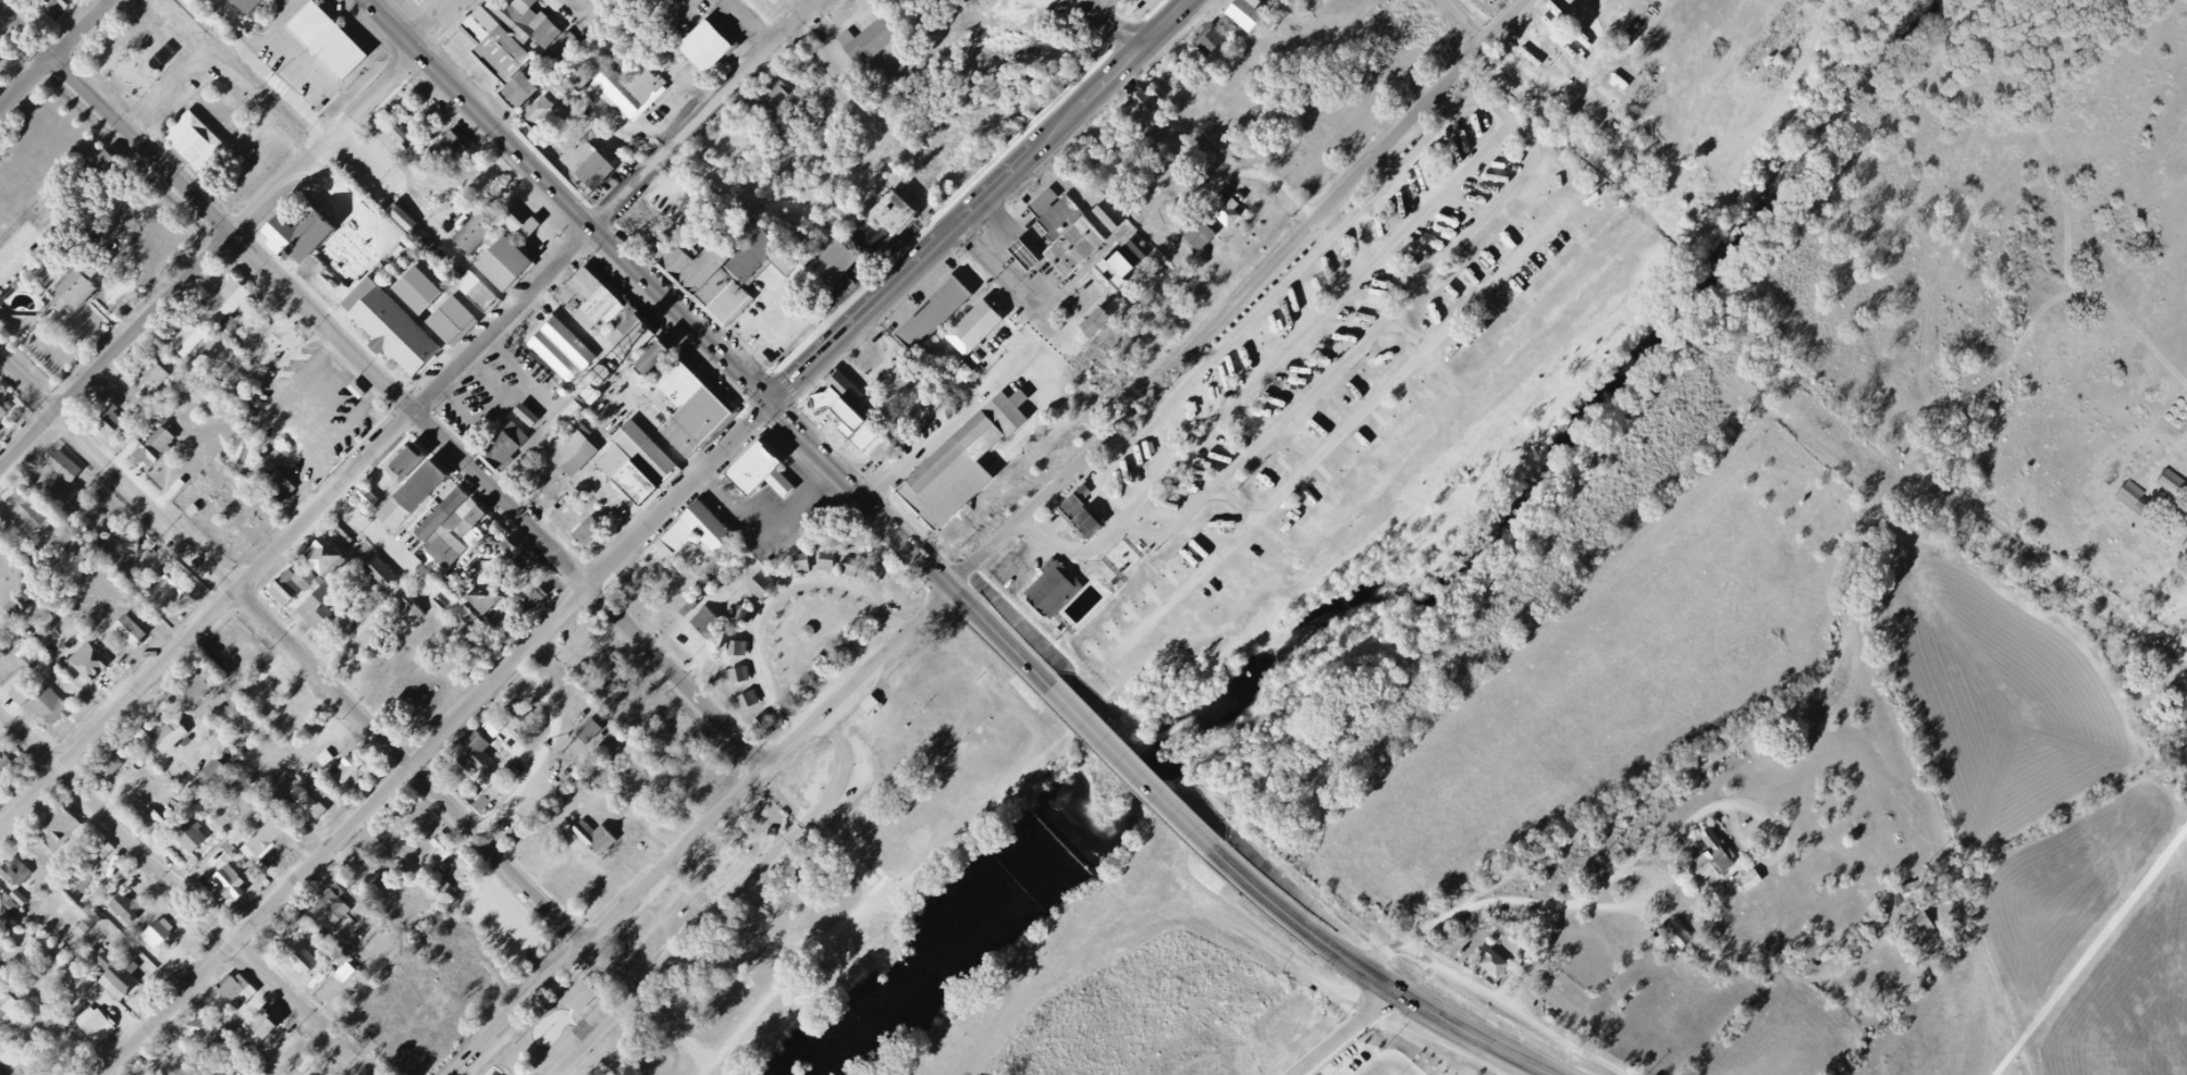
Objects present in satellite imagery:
building: (779, 1)
building: (926, 2)
building: (248, 5)
building: (63, 11)
building: (1252, 17)
road: (750, 22)
building: (532, 24)
road: (1113, 25)
building: (328, 40)
building: (494, 46)
building: (1218, 47)
park: (137, 49)
building: (875, 49)
building: (712, 53)
road: (53, 54)
building: (1, 65)
parking lot: (303, 70)
road: (224, 73)
building: (1, 76)
flagpole: (401, 89)
road: (1547, 90)
flagpole: (398, 92)
building: (517, 92)
flagpole: (395, 95)
building: (639, 95)
building: (776, 95)
flagpole: (393, 98)
parking lot: (167, 99)
flagpole: (390, 100)
road: (1086, 100)
building: (1143, 102)
building: (784, 103)
building: (1152, 109)
building: (539, 112)
park: (418, 113)
road: (703, 114)
road: (1500, 118)
building: (398, 133)
building: (1445, 140)
building: (195, 141)
building: (452, 148)
building: (587, 163)
building: (101, 165)
parking lot: (369, 165)
building: (113, 174)
building: (1034, 200)
road: (566, 202)
building: (1220, 210)
building: (1097, 212)
building: (1108, 215)
building: (1048, 217)
building: (402, 218)
building: (900, 222)
building: (517, 226)
building: (1191, 233)
building: (477, 234)
building: (298, 236)
road: (229, 238)
building: (1061, 244)
building: (1120, 248)
building: (1012, 252)
gas station: (1012, 252)
building: (367, 254)
building: (658, 255)
building: (1024, 256)
building: (767, 262)
building: (830, 267)
building: (678, 268)
building: (1102, 268)
building: (513, 273)
building: (687, 275)
building: (708, 275)
building: (331, 276)
building: (418, 289)
building: (476, 291)
building: (586, 294)
building: (84, 296)
road: (873, 305)
building: (237, 307)
building: (728, 308)
building: (604, 316)
building: (622, 320)
building: (452, 321)
building: (1083, 321)
building: (1095, 321)
building: (941, 324)
building: (974, 328)
building: (391, 330)
building: (628, 332)
road: (1402, 334)
building: (188, 338)
building: (982, 342)
building: (638, 343)
building: (199, 348)
building: (650, 349)
building: (556, 351)
road: (1271, 368)
building: (660, 371)
road: (519, 372)
road: (1008, 373)
building: (957, 375)
building: (161, 378)
building: (897, 380)
building: (590, 382)
building: (137, 384)
road: (382, 385)
building: (845, 387)
parking lot: (497, 394)
road: (519, 394)
building: (902, 394)
building: (680, 395)
road: (323, 400)
traffic signals: (766, 406)
parking lot: (312, 411)
building: (837, 411)
road: (261, 412)
building: (567, 415)
building: (527, 416)
road: (495, 418)
building: (7, 420)
building: (576, 421)
building: (116, 427)
road: (349, 428)
building: (702, 432)
road: (1338, 434)
building: (864, 437)
building: (595, 442)
water tower: (595, 442)
building: (573, 452)
building: (511, 453)
road: (818, 453)
building: (156, 455)
building: (654, 457)
building: (962, 461)
building: (404, 465)
building: (72, 473)
building: (769, 480)
building: (636, 484)
building: (2174, 485)
building: (420, 486)
building: (531, 486)
building: (1084, 492)
building: (285, 495)
building: (366, 497)
building: (2131, 497)
road: (1232, 503)
building: (441, 514)
building: (1080, 518)
building: (397, 519)
building: (37, 524)
road: (296, 532)
building: (587, 532)
building: (458, 534)
building: (341, 539)
building: (709, 540)
building: (509, 545)
road: (996, 545)
building: (2185, 548)
building: (825, 560)
building: (800, 564)
building: (849, 567)
building: (808, 568)
building: (334, 570)
building: (872, 573)
building: (761, 584)
building: (388, 585)
river: (1430, 585)
building: (1053, 590)
road: (960, 591)
building: (172, 592)
building: (296, 596)
building: (533, 598)
road: (775, 600)
building: (483, 602)
building: (741, 615)
building: (34, 619)
building: (324, 619)
building: (417, 623)
building: (705, 623)
building: (138, 641)
road: (293, 645)
building: (736, 650)
building: (27, 664)
building: (99, 668)
building: (739, 675)
building: (204, 697)
building: (277, 697)
building: (748, 700)
building: (870, 705)
building: (877, 711)
building: (58, 714)
building: (515, 715)
building: (527, 722)
building: (761, 724)
building: (589, 731)
building: (170, 737)
building: (598, 738)
road: (435, 739)
building: (177, 745)
building: (489, 752)
building: (331, 763)
building: (110, 767)
road: (841, 768)
building: (9, 769)
building: (214, 770)
building: (345, 770)
road: (1693, 770)
building: (116, 774)
building: (354, 777)
building: (218, 780)
road: (1145, 780)
building: (318, 811)
road: (826, 833)
building: (64, 836)
building: (267, 836)
dam: (1068, 837)
building: (197, 844)
building: (272, 845)
building: (602, 845)
building: (440, 848)
building: (447, 862)
building: (1718, 862)
building: (22, 873)
park: (809, 877)
building: (237, 881)
building: (1749, 881)
building: (1757, 886)
road: (188, 887)
building: (1910, 893)
building: (26, 901)
building: (3, 904)
building: (11, 909)
building: (342, 912)
building: (19, 913)
building: (135, 915)
building: (1925, 924)
road: (869, 937)
building: (167, 940)
building: (1688, 940)
road: (687, 948)
road: (828, 950)
road: (2092, 953)
building: (310, 964)
building: (1502, 969)
building: (124, 981)
road: (1390, 985)
building: (580, 997)
building: (234, 1003)
road: (650, 1005)
road: (1516, 1012)
building: (12, 1016)
building: (100, 1025)
building: (260, 1028)
building: (109, 1035)
building: (272, 1035)
building: (206, 1037)
road: (7, 1067)

